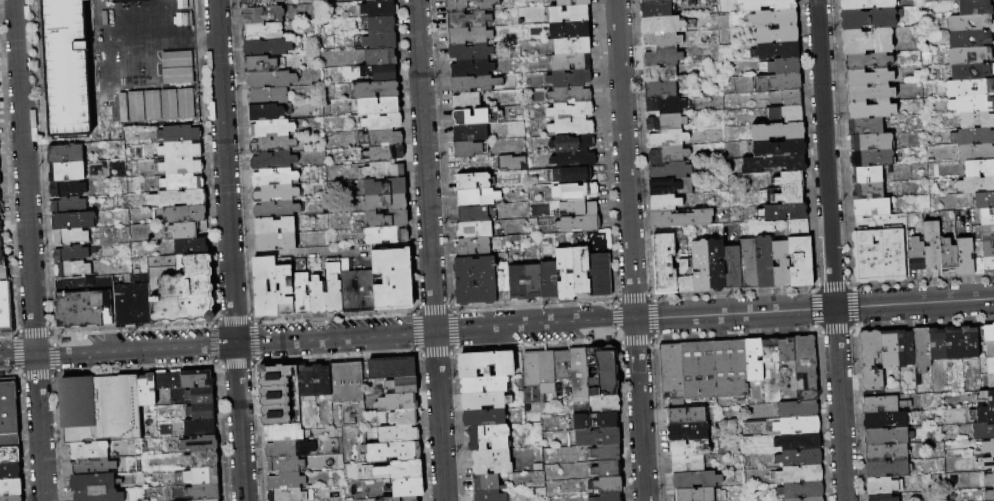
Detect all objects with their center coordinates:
building: (376, 0)
building: (652, 0)
building: (944, 0)
building: (259, 3)
building: (573, 3)
building: (868, 4)
building: (471, 5)
building: (767, 5)
building: (975, 7)
building: (657, 8)
building: (379, 9)
building: (570, 14)
building: (263, 15)
building: (773, 18)
building: (871, 18)
building: (469, 19)
building: (970, 23)
building: (381, 24)
building: (666, 24)
building: (570, 30)
building: (263, 31)
building: (777, 34)
building: (469, 35)
building: (970, 39)
building: (662, 40)
building: (382, 41)
building: (868, 41)
building: (572, 46)
building: (267, 47)
building: (471, 51)
building: (777, 51)
building: (971, 55)
building: (381, 57)
building: (663, 57)
building: (175, 58)
building: (868, 61)
building: (571, 63)
building: (262, 64)
building: (785, 66)
building: (473, 67)
building: (67, 69)
building: (972, 71)
building: (380, 72)
building: (661, 73)
building: (176, 74)
building: (569, 77)
building: (869, 78)
building: (272, 79)
building: (780, 82)
building: (475, 83)
building: (970, 88)
building: (377, 90)
building: (662, 90)
building: (570, 93)
building: (870, 94)
building: (268, 96)
building: (787, 98)
building: (467, 101)
building: (176, 103)
building: (151, 104)
building: (972, 104)
building: (667, 105)
building: (377, 106)
building: (571, 109)
building: (871, 110)
building: (128, 112)
building: (266, 112)
building: (787, 114)
building: (471, 117)
building: (977, 120)
building: (384, 122)
building: (667, 122)
building: (572, 126)
building: (865, 126)
building: (272, 129)
building: (779, 131)
building: (471, 133)
building: (180, 134)
building: (973, 136)
building: (382, 138)
building: (669, 138)
building: (872, 142)
building: (573, 143)
building: (274, 145)
building: (780, 147)
building: (468, 149)
building: (181, 150)
building: (385, 153)
road: (825, 153)
building: (976, 153)
building: (67, 154)
building: (669, 154)
building: (873, 158)
building: (575, 159)
building: (274, 161)
building: (511, 163)
building: (774, 165)
building: (181, 166)
building: (386, 169)
building: (979, 169)
building: (670, 170)
building: (67, 172)
building: (575, 174)
building: (868, 175)
building: (275, 177)
building: (792, 180)
building: (0, 181)
building: (474, 181)
building: (183, 182)
building: (976, 185)
building: (385, 187)
building: (671, 187)
building: (68, 189)
building: (576, 191)
building: (869, 191)
building: (277, 193)
building: (786, 195)
building: (478, 197)
building: (0, 198)
building: (179, 198)
building: (984, 201)
building: (387, 202)
building: (665, 203)
building: (68, 205)
building: (873, 207)
building: (581, 208)
building: (278, 209)
building: (0, 212)
building: (784, 212)
building: (475, 214)
building: (185, 215)
building: (987, 217)
building: (387, 218)
building: (682, 218)
building: (74, 220)
building: (579, 224)
building: (275, 226)
building: (0, 227)
building: (799, 228)
building: (187, 230)
building: (475, 230)
building: (988, 232)
building: (386, 235)
building: (71, 237)
building: (277, 241)
building: (1, 243)
building: (933, 243)
building: (192, 247)
building: (473, 247)
building: (881, 249)
building: (988, 249)
road: (29, 250)
road: (230, 250)
road: (430, 250)
road: (631, 250)
building: (73, 253)
building: (917, 255)
building: (949, 255)
building: (965, 256)
building: (2, 259)
building: (665, 261)
building: (765, 262)
building: (801, 262)
building: (782, 263)
building: (749, 264)
building: (717, 265)
building: (984, 265)
building: (701, 266)
building: (734, 267)
building: (72, 269)
building: (582, 270)
building: (4, 274)
building: (566, 274)
building: (601, 275)
building: (685, 278)
building: (394, 279)
building: (549, 280)
building: (476, 281)
building: (525, 282)
building: (503, 283)
building: (266, 286)
building: (285, 286)
building: (335, 286)
building: (301, 288)
building: (357, 288)
building: (182, 289)
building: (318, 296)
building: (133, 301)
building: (85, 302)
road: (914, 303)
building: (6, 308)
road: (434, 331)
building: (989, 333)
building: (954, 343)
building: (970, 343)
building: (938, 344)
building: (890, 349)
building: (906, 349)
building: (990, 349)
building: (787, 350)
building: (922, 350)
building: (771, 351)
road: (17, 354)
building: (755, 360)
building: (806, 361)
building: (872, 361)
building: (487, 364)
building: (563, 365)
building: (991, 365)
building: (393, 368)
building: (732, 368)
building: (673, 369)
building: (700, 370)
building: (604, 371)
building: (579, 372)
building: (538, 373)
building: (197, 379)
building: (323, 380)
building: (169, 381)
building: (306, 381)
building: (347, 382)
building: (991, 382)
building: (404, 385)
building: (485, 385)
building: (148, 390)
building: (808, 394)
building: (201, 395)
building: (987, 397)
building: (486, 401)
building: (398, 402)
building: (596, 404)
road: (839, 404)
building: (885, 404)
building: (101, 408)
building: (798, 409)
building: (202, 411)
building: (9, 413)
building: (982, 414)
building: (687, 416)
building: (405, 418)
building: (485, 418)
building: (596, 420)
building: (886, 421)
building: (798, 425)
building: (200, 427)
building: (983, 431)
building: (689, 432)
building: (285, 433)
building: (399, 435)
building: (598, 436)
building: (889, 437)
building: (489, 438)
building: (799, 442)
building: (201, 444)
building: (988, 447)
building: (290, 448)
building: (690, 448)
building: (89, 450)
building: (393, 452)
building: (607, 452)
building: (887, 452)
building: (10, 455)
building: (800, 458)
building: (203, 460)
building: (492, 462)
building: (985, 463)
building: (286, 464)
building: (689, 464)
building: (93, 466)
building: (607, 469)
building: (888, 469)
building: (400, 470)
building: (10, 471)
building: (801, 474)
building: (195, 477)
building: (698, 479)
building: (989, 479)
building: (287, 481)
building: (93, 482)
building: (488, 483)
building: (607, 485)
building: (884, 486)
building: (11, 487)
building: (409, 487)
building: (802, 490)
building: (199, 492)
building: (701, 494)
building: (288, 495)
building: (989, 495)
building: (100, 496)
building: (490, 496)
building: (607, 497)
building: (883, 497)
building: (11, 498)
building: (401, 499)
building: (806, 499)
building: (210, 500)

